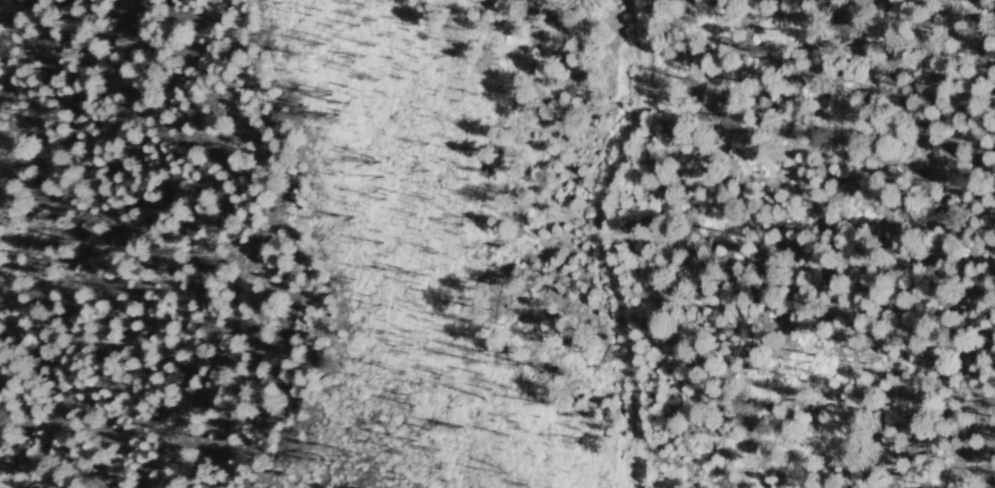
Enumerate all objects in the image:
road: (592, 240)
road: (9, 481)

